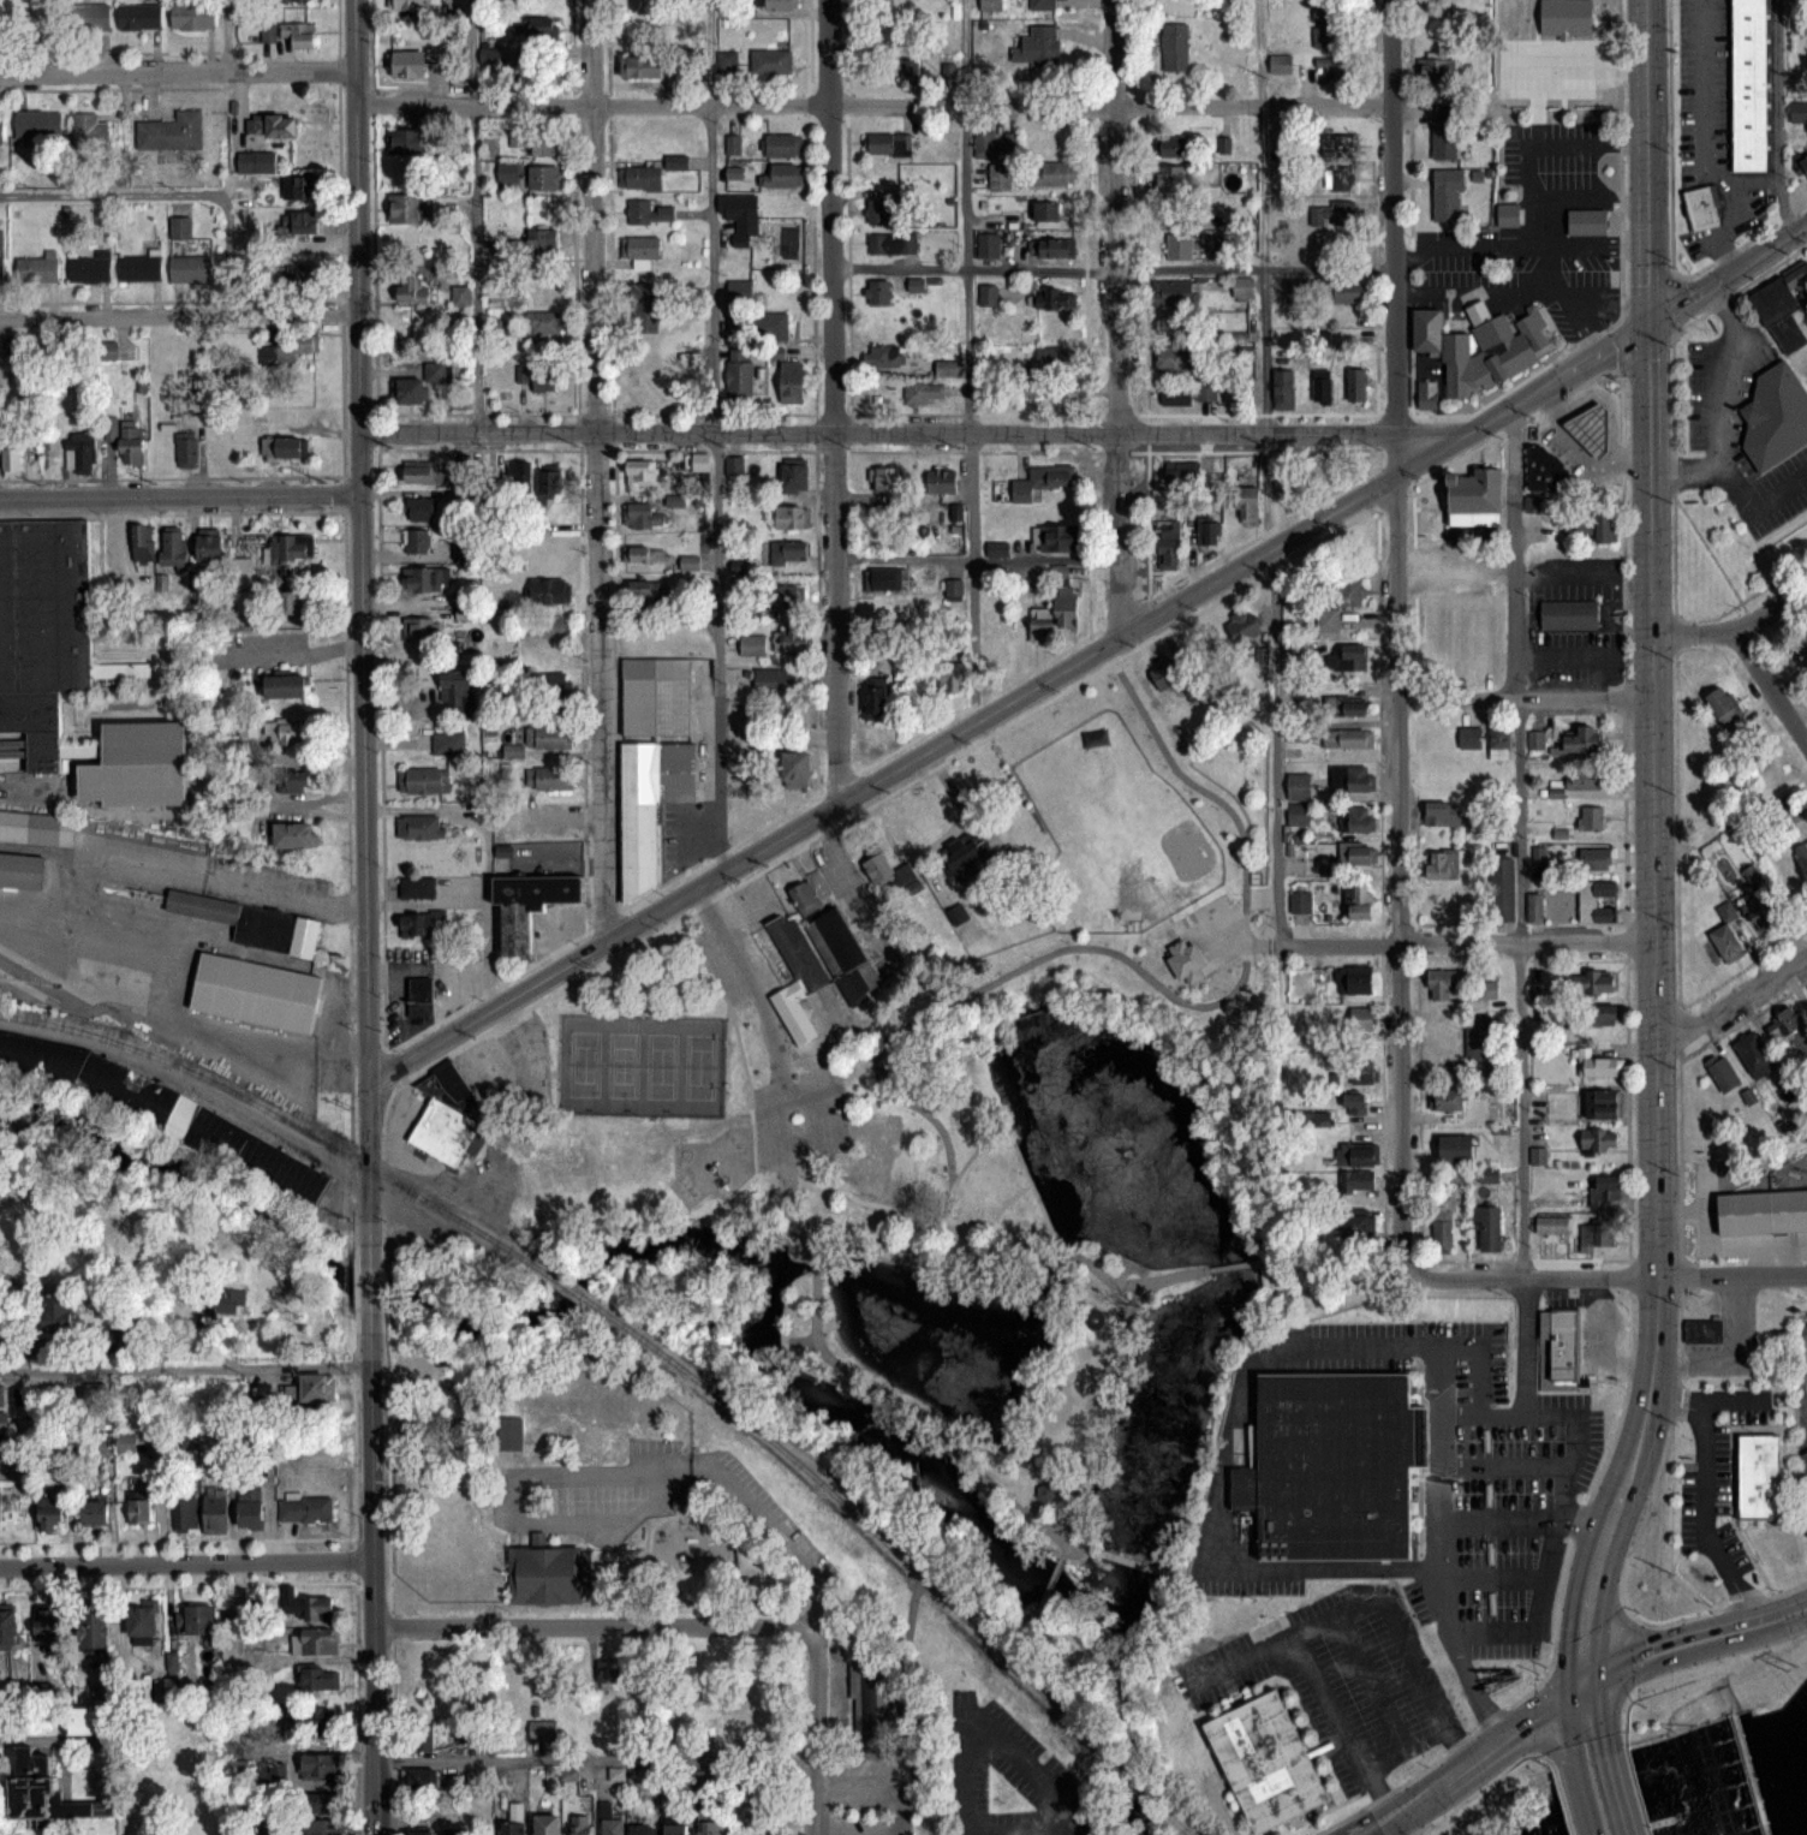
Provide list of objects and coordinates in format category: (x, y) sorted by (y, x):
building: (296, 0)
building: (406, 4)
building: (781, 4)
building: (1042, 5)
building: (89, 16)
building: (193, 16)
building: (139, 17)
building: (535, 28)
building: (1324, 28)
building: (268, 31)
road: (226, 34)
building: (299, 34)
building: (1038, 47)
building: (1175, 47)
building: (1579, 47)
building: (493, 59)
building: (728, 61)
building: (773, 61)
building: (406, 64)
building: (1282, 64)
building: (642, 67)
building: (1439, 67)
road: (177, 68)
building: (1332, 68)
building: (459, 78)
building: (1746, 83)
road: (873, 102)
building: (1194, 102)
building: (1799, 112)
road: (1773, 119)
building: (38, 124)
building: (272, 125)
building: (1, 129)
building: (90, 130)
building: (1445, 130)
building: (173, 131)
road: (1704, 137)
building: (405, 142)
building: (537, 142)
building: (1336, 142)
road: (1556, 142)
building: (889, 143)
building: (783, 144)
building: (989, 145)
building: (1225, 145)
building: (1174, 147)
building: (257, 162)
building: (1802, 167)
building: (507, 173)
building: (1052, 173)
building: (782, 174)
building: (1000, 177)
building: (547, 178)
building: (642, 179)
building: (1171, 179)
building: (1340, 179)
building: (300, 187)
road: (169, 192)
building: (1448, 195)
road: (1588, 202)
building: (1699, 204)
building: (405, 208)
building: (1045, 210)
building: (882, 211)
building: (1505, 211)
building: (652, 213)
building: (1332, 213)
road: (473, 214)
road: (1263, 214)
building: (740, 215)
building: (1584, 218)
building: (300, 222)
building: (181, 227)
building: (542, 243)
building: (893, 243)
road: (1460, 243)
road: (1592, 243)
building: (988, 246)
building: (1180, 246)
building: (642, 248)
building: (1056, 248)
building: (141, 264)
building: (90, 267)
road: (1113, 267)
building: (40, 268)
building: (192, 268)
road: (415, 268)
building: (1, 272)
building: (297, 276)
road: (1552, 281)
building: (917, 284)
road: (1648, 287)
building: (412, 290)
building: (739, 290)
building: (878, 291)
road: (1489, 291)
building: (1176, 292)
building: (1346, 293)
building: (988, 294)
building: (461, 296)
building: (1052, 299)
road: (1620, 305)
road: (1674, 305)
building: (645, 309)
building: (1783, 309)
road: (178, 314)
road: (1113, 316)
building: (547, 322)
traffic signals: (1648, 322)
building: (1176, 326)
building: (1424, 326)
building: (775, 327)
building: (1328, 341)
road: (1620, 341)
building: (1487, 346)
building: (286, 348)
building: (106, 351)
road: (1642, 352)
building: (882, 356)
building: (1175, 358)
road: (966, 359)
building: (1049, 363)
building: (949, 367)
building: (537, 376)
building: (740, 381)
building: (793, 381)
building: (419, 385)
building: (1323, 385)
building: (1356, 385)
building: (1284, 389)
building: (1424, 392)
building: (923, 393)
building: (1188, 393)
road: (831, 399)
road: (1723, 407)
building: (1773, 415)
building: (1588, 424)
road: (914, 430)
road: (712, 434)
building: (127, 437)
building: (292, 447)
building: (187, 448)
building: (12, 453)
building: (80, 453)
building: (700, 461)
building: (735, 465)
building: (1545, 467)
road: (594, 471)
building: (1180, 471)
building: (642, 472)
building: (425, 473)
building: (520, 475)
building: (795, 475)
building: (551, 477)
building: (885, 479)
building: (942, 479)
building: (1042, 481)
road: (180, 493)
building: (1473, 495)
road: (1757, 501)
building: (1251, 505)
building: (421, 510)
building: (642, 516)
building: (789, 517)
building: (1597, 528)
building: (1207, 531)
building: (1057, 537)
building: (130, 541)
building: (418, 541)
building: (1169, 543)
building: (210, 546)
building: (174, 547)
building: (292, 547)
building: (997, 549)
building: (466, 550)
building: (788, 552)
building: (644, 554)
road: (974, 556)
building: (690, 561)
building: (888, 578)
building: (427, 579)
building: (954, 585)
building: (550, 590)
building: (644, 592)
building: (781, 598)
building: (296, 601)
building: (1340, 604)
building: (1066, 606)
road: (362, 608)
road: (1773, 609)
building: (1567, 610)
building: (998, 618)
building: (550, 625)
building: (1040, 627)
building: (1245, 627)
building: (422, 628)
building: (789, 639)
road: (1397, 639)
building: (753, 644)
building: (1801, 648)
building: (995, 649)
road: (1749, 649)
road: (1086, 654)
building: (1348, 659)
building: (68, 668)
building: (1173, 674)
building: (953, 678)
building: (776, 679)
building: (286, 683)
building: (554, 692)
building: (457, 693)
building: (652, 693)
road: (1525, 697)
building: (876, 698)
building: (1348, 705)
building: (1725, 709)
building: (248, 728)
building: (286, 731)
building: (1471, 735)
building: (550, 737)
building: (1348, 738)
building: (1537, 739)
building: (1582, 740)
road: (973, 741)
building: (1499, 741)
building: (448, 743)
building: (797, 769)
building: (1353, 776)
building: (424, 779)
building: (548, 779)
building: (1584, 780)
building: (291, 781)
building: (1300, 785)
building: (646, 800)
road: (1276, 805)
building: (1443, 811)
building: (1300, 814)
building: (1592, 817)
building: (1358, 818)
building: (36, 826)
building: (421, 826)
road: (986, 828)
road: (944, 833)
building: (293, 835)
road: (1517, 840)
building: (1355, 853)
building: (970, 856)
building: (1596, 859)
building: (1802, 859)
building: (1445, 860)
building: (883, 866)
building: (19, 868)
building: (1753, 875)
road: (1653, 886)
building: (417, 887)
building: (1504, 889)
road: (425, 901)
building: (1301, 901)
building: (1596, 901)
building: (531, 905)
building: (1361, 905)
building: (1535, 908)
building: (955, 913)
road: (485, 914)
building: (249, 919)
building: (421, 923)
road: (66, 925)
road: (1133, 930)
parking lot: (1216, 930)
road: (1239, 933)
building: (1728, 936)
road: (1526, 941)
building: (839, 946)
building: (1180, 955)
road: (1135, 965)
road: (1162, 973)
building: (797, 977)
building: (1355, 979)
building: (1444, 981)
building: (1597, 982)
building: (252, 989)
building: (1489, 989)
building: (421, 990)
road: (1735, 1003)
road: (1624, 1012)
building: (1600, 1013)
road: (764, 1014)
building: (1362, 1019)
building: (1790, 1029)
railway: (114, 1039)
building: (1479, 1043)
building: (1758, 1056)
park: (582, 1061)
park: (620, 1062)
park: (658, 1064)
park: (697, 1065)
building: (1598, 1065)
building: (1361, 1072)
building: (1724, 1074)
building: (102, 1080)
building: (1447, 1098)
building: (1355, 1103)
building: (1604, 1103)
building: (441, 1113)
parking lot: (823, 1118)
building: (872, 1133)
road: (1009, 1139)
building: (1600, 1139)
building: (1456, 1146)
fountain: (1122, 1151)
building: (1358, 1154)
building: (274, 1166)
railway: (383, 1175)
building: (1359, 1179)
building: (1605, 1190)
park: (979, 1197)
road: (1002, 1199)
building: (1760, 1209)
road: (918, 1211)
building: (1552, 1225)
building: (1360, 1226)
building: (1489, 1226)
building: (1443, 1231)
building: (1596, 1237)
road: (1062, 1247)
road: (1125, 1262)
road: (1233, 1263)
road: (1117, 1271)
road: (354, 1273)
road: (380, 1273)
road: (369, 1274)
road: (1332, 1276)
road: (1159, 1277)
road: (1610, 1277)
road: (1108, 1279)
railway: (568, 1287)
building: (58, 1311)
building: (1097, 1317)
building: (1700, 1328)
building: (1561, 1340)
road: (1379, 1344)
road: (1523, 1345)
parking lot: (1400, 1346)
road: (1731, 1357)
road: (1803, 1363)
road: (184, 1366)
parking lot: (1460, 1375)
road: (1800, 1378)
road: (875, 1383)
building: (317, 1387)
building: (11, 1394)
road: (1676, 1399)
road: (1457, 1413)
building: (418, 1425)
building: (511, 1431)
parking lot: (1578, 1431)
road: (1085, 1436)
building: (6, 1437)
building: (603, 1441)
parking lot: (652, 1454)
road: (525, 1455)
building: (1329, 1464)
road: (1502, 1465)
road: (621, 1471)
road: (1702, 1471)
building: (1757, 1474)
parking lot: (507, 1499)
parking lot: (598, 1502)
building: (251, 1505)
building: (306, 1508)
building: (141, 1509)
building: (186, 1509)
building: (50, 1513)
building: (96, 1513)
building: (216, 1513)
building: (0, 1514)
road: (1498, 1519)
railway: (863, 1520)
parking lot: (776, 1521)
parking lot: (1501, 1521)
road: (1582, 1521)
road: (537, 1533)
road: (177, 1539)
road: (1438, 1548)
road: (1127, 1559)
road: (186, 1562)
building: (545, 1571)
road: (1189, 1572)
road: (1491, 1575)
road: (1049, 1579)
parking lot: (1252, 1580)
road: (177, 1583)
road: (353, 1583)
road: (375, 1583)
road: (387, 1583)
road: (670, 1596)
parking lot: (1424, 1597)
road: (1350, 1603)
road: (1749, 1605)
road: (982, 1607)
building: (308, 1608)
road: (1626, 1619)
building: (197, 1620)
building: (48, 1624)
building: (143, 1625)
road: (594, 1625)
building: (8, 1626)
building: (94, 1628)
building: (315, 1642)
road: (1555, 1642)
road: (312, 1656)
building: (604, 1672)
road: (1686, 1675)
building: (320, 1678)
road: (1368, 1679)
traffic signals: (1581, 1685)
road: (1535, 1687)
road: (1636, 1688)
road: (1572, 1691)
road: (1325, 1702)
road: (1622, 1708)
building: (867, 1710)
road: (897, 1712)
building: (321, 1718)
building: (83, 1720)
building: (543, 1728)
building: (423, 1732)
road: (817, 1733)
road: (1396, 1747)
road: (1552, 1750)
road: (1445, 1752)
road: (596, 1758)
building: (1263, 1759)
building: (320, 1764)
road: (1024, 1764)
building: (1746, 1774)
dam: (1746, 1774)
building: (272, 1775)
building: (424, 1781)
railway: (1132, 1782)
parking lot: (863, 1785)
road: (882, 1785)
road: (1477, 1788)
building: (41, 1789)
road: (1561, 1797)
road: (1598, 1798)
road: (1638, 1800)
building: (321, 1803)
road: (1471, 1805)
road: (913, 1810)
railway: (1170, 1819)
building: (678, 1823)
building: (709, 1823)
building: (547, 1824)
building: (582, 1824)
building: (614, 1824)
parking lot: (863, 1827)
building: (642, 1830)
building: (428, 1831)
river: (1799, 1831)
road: (1024, 1834)

